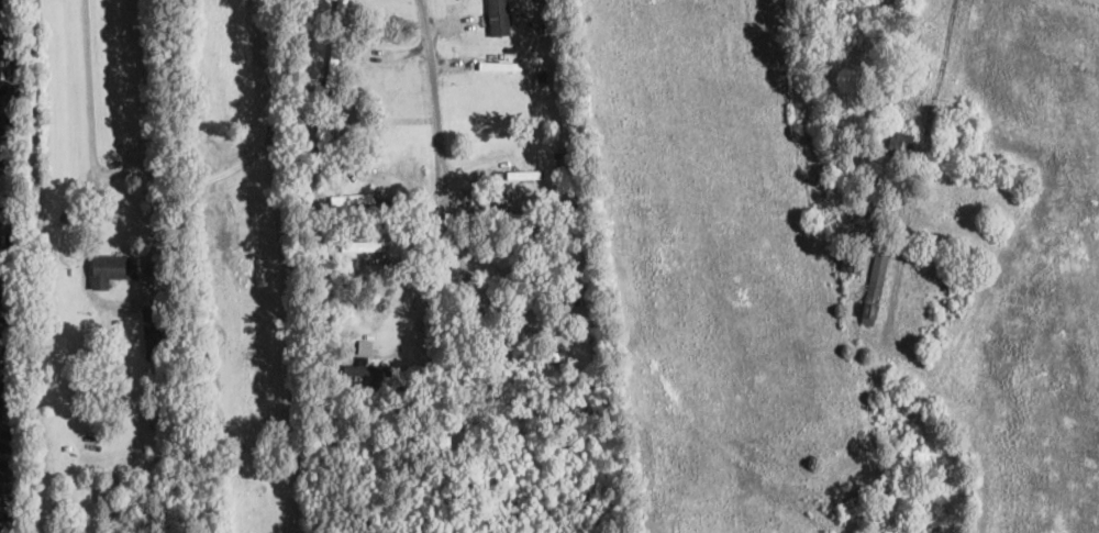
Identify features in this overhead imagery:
building: (342, 9)
building: (497, 23)
building: (536, 26)
building: (850, 31)
building: (539, 35)
building: (922, 55)
building: (865, 57)
road: (943, 58)
building: (333, 65)
building: (500, 66)
building: (884, 77)
building: (541, 79)
building: (825, 81)
building: (520, 82)
building: (347, 121)
building: (315, 132)
building: (333, 136)
building: (900, 143)
building: (349, 144)
building: (557, 154)
road: (127, 171)
road: (440, 171)
building: (841, 173)
building: (523, 175)
building: (566, 179)
building: (878, 179)
building: (352, 199)
building: (861, 211)
building: (509, 216)
building: (362, 245)
building: (358, 258)
building: (366, 262)
building: (854, 265)
building: (114, 269)
road: (152, 285)
building: (875, 285)
building: (946, 286)
building: (554, 299)
building: (586, 300)
building: (576, 309)
building: (585, 318)
road: (498, 336)
building: (153, 345)
building: (548, 356)
building: (107, 358)
building: (331, 363)
building: (368, 369)
building: (544, 374)
building: (67, 445)
building: (88, 448)

